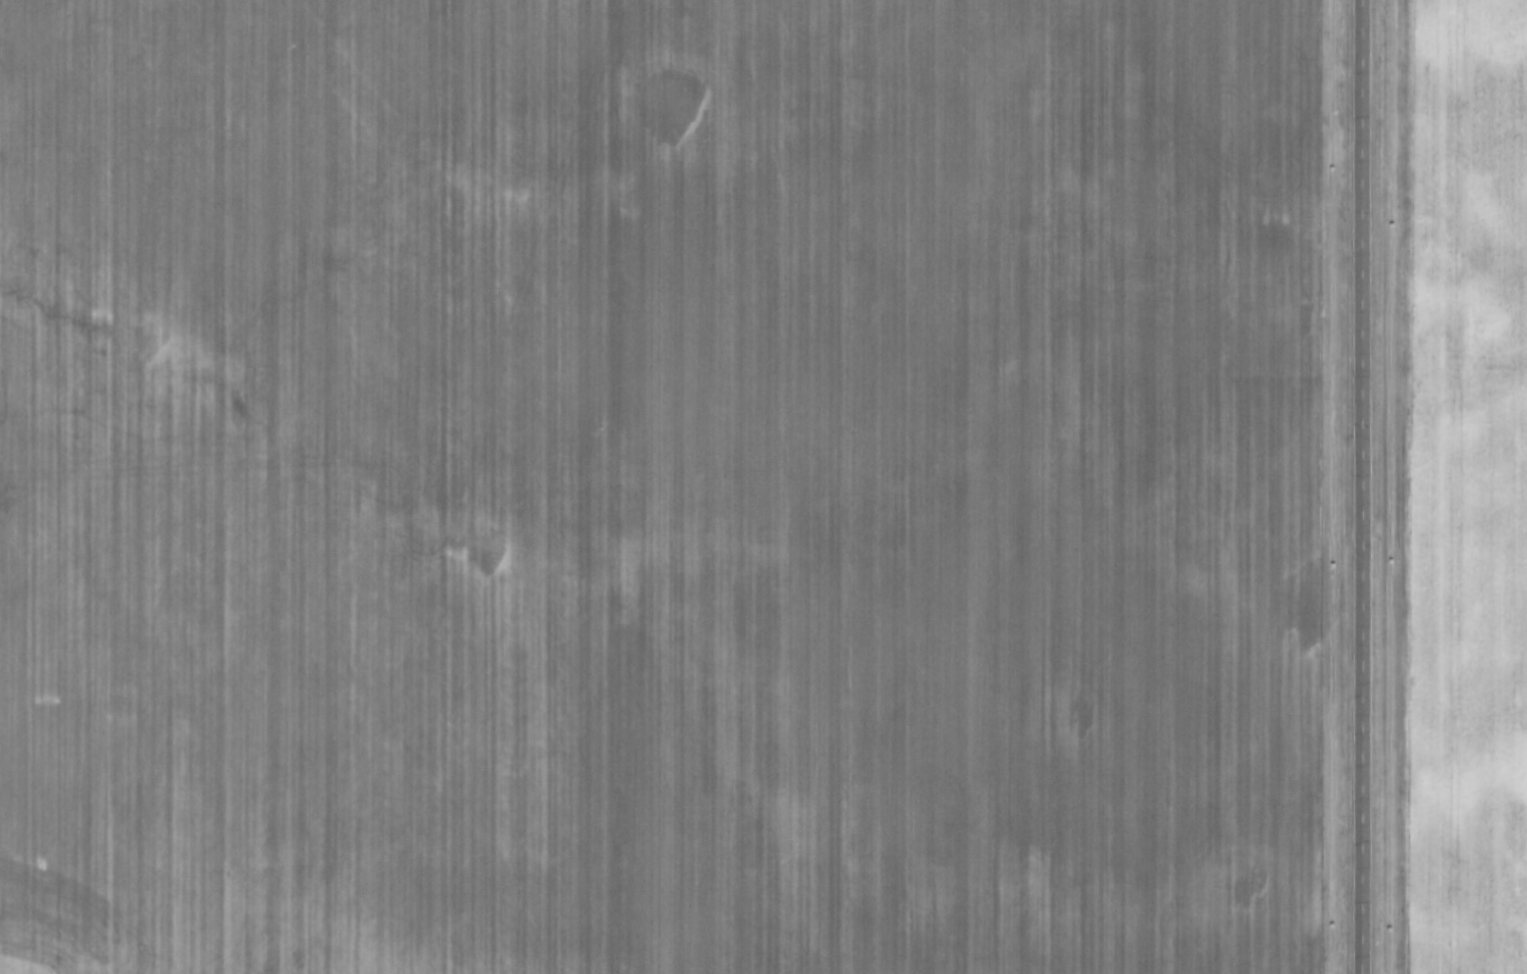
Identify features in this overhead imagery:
road: (1365, 487)

